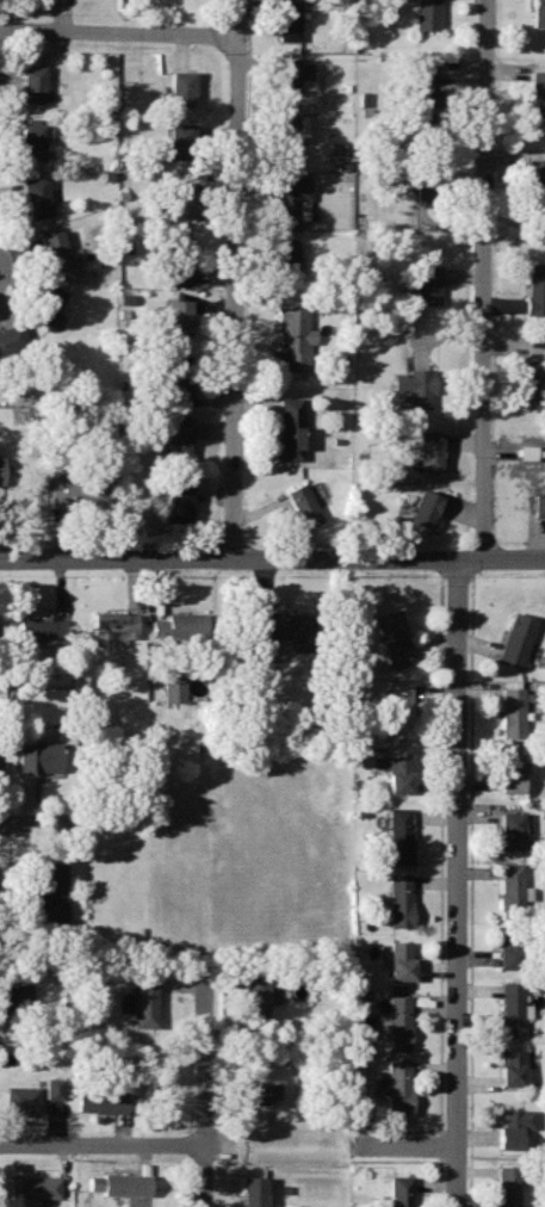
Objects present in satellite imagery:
building: (538, 12)
building: (425, 13)
building: (287, 19)
road: (119, 35)
building: (290, 73)
building: (32, 80)
building: (180, 86)
building: (537, 89)
building: (423, 94)
building: (32, 138)
building: (180, 138)
building: (290, 138)
building: (341, 155)
building: (535, 180)
building: (426, 182)
building: (36, 194)
building: (180, 198)
building: (291, 198)
building: (55, 247)
building: (181, 259)
building: (286, 259)
road: (236, 278)
road: (483, 280)
building: (422, 285)
building: (534, 287)
building: (48, 303)
building: (176, 316)
building: (292, 336)
building: (10, 340)
building: (174, 376)
building: (533, 382)
building: (415, 385)
building: (287, 427)
building: (178, 434)
building: (429, 448)
building: (526, 451)
building: (2, 466)
building: (79, 488)
building: (179, 501)
building: (301, 503)
building: (538, 503)
building: (422, 507)
road: (272, 557)
road: (454, 574)
building: (39, 625)
building: (113, 626)
building: (178, 626)
building: (280, 629)
building: (391, 637)
building: (515, 639)
building: (172, 689)
building: (512, 707)
building: (398, 708)
building: (39, 756)
building: (394, 770)
building: (510, 772)
road: (31, 823)
building: (508, 829)
building: (396, 835)
road: (438, 852)
road: (454, 884)
building: (45, 890)
building: (509, 890)
road: (467, 891)
building: (395, 899)
building: (508, 948)
building: (395, 959)
building: (14, 995)
building: (253, 996)
building: (143, 1001)
building: (508, 1007)
building: (394, 1022)
building: (508, 1066)
building: (394, 1087)
building: (54, 1088)
road: (203, 1090)
building: (254, 1091)
building: (20, 1097)
building: (101, 1101)
building: (358, 1118)
building: (509, 1126)
road: (396, 1129)
road: (358, 1137)
road: (111, 1143)
road: (435, 1145)
road: (402, 1146)
road: (390, 1160)
building: (144, 1166)
building: (120, 1182)
road: (434, 1183)
building: (33, 1186)
building: (503, 1186)
building: (253, 1190)
building: (395, 1190)

